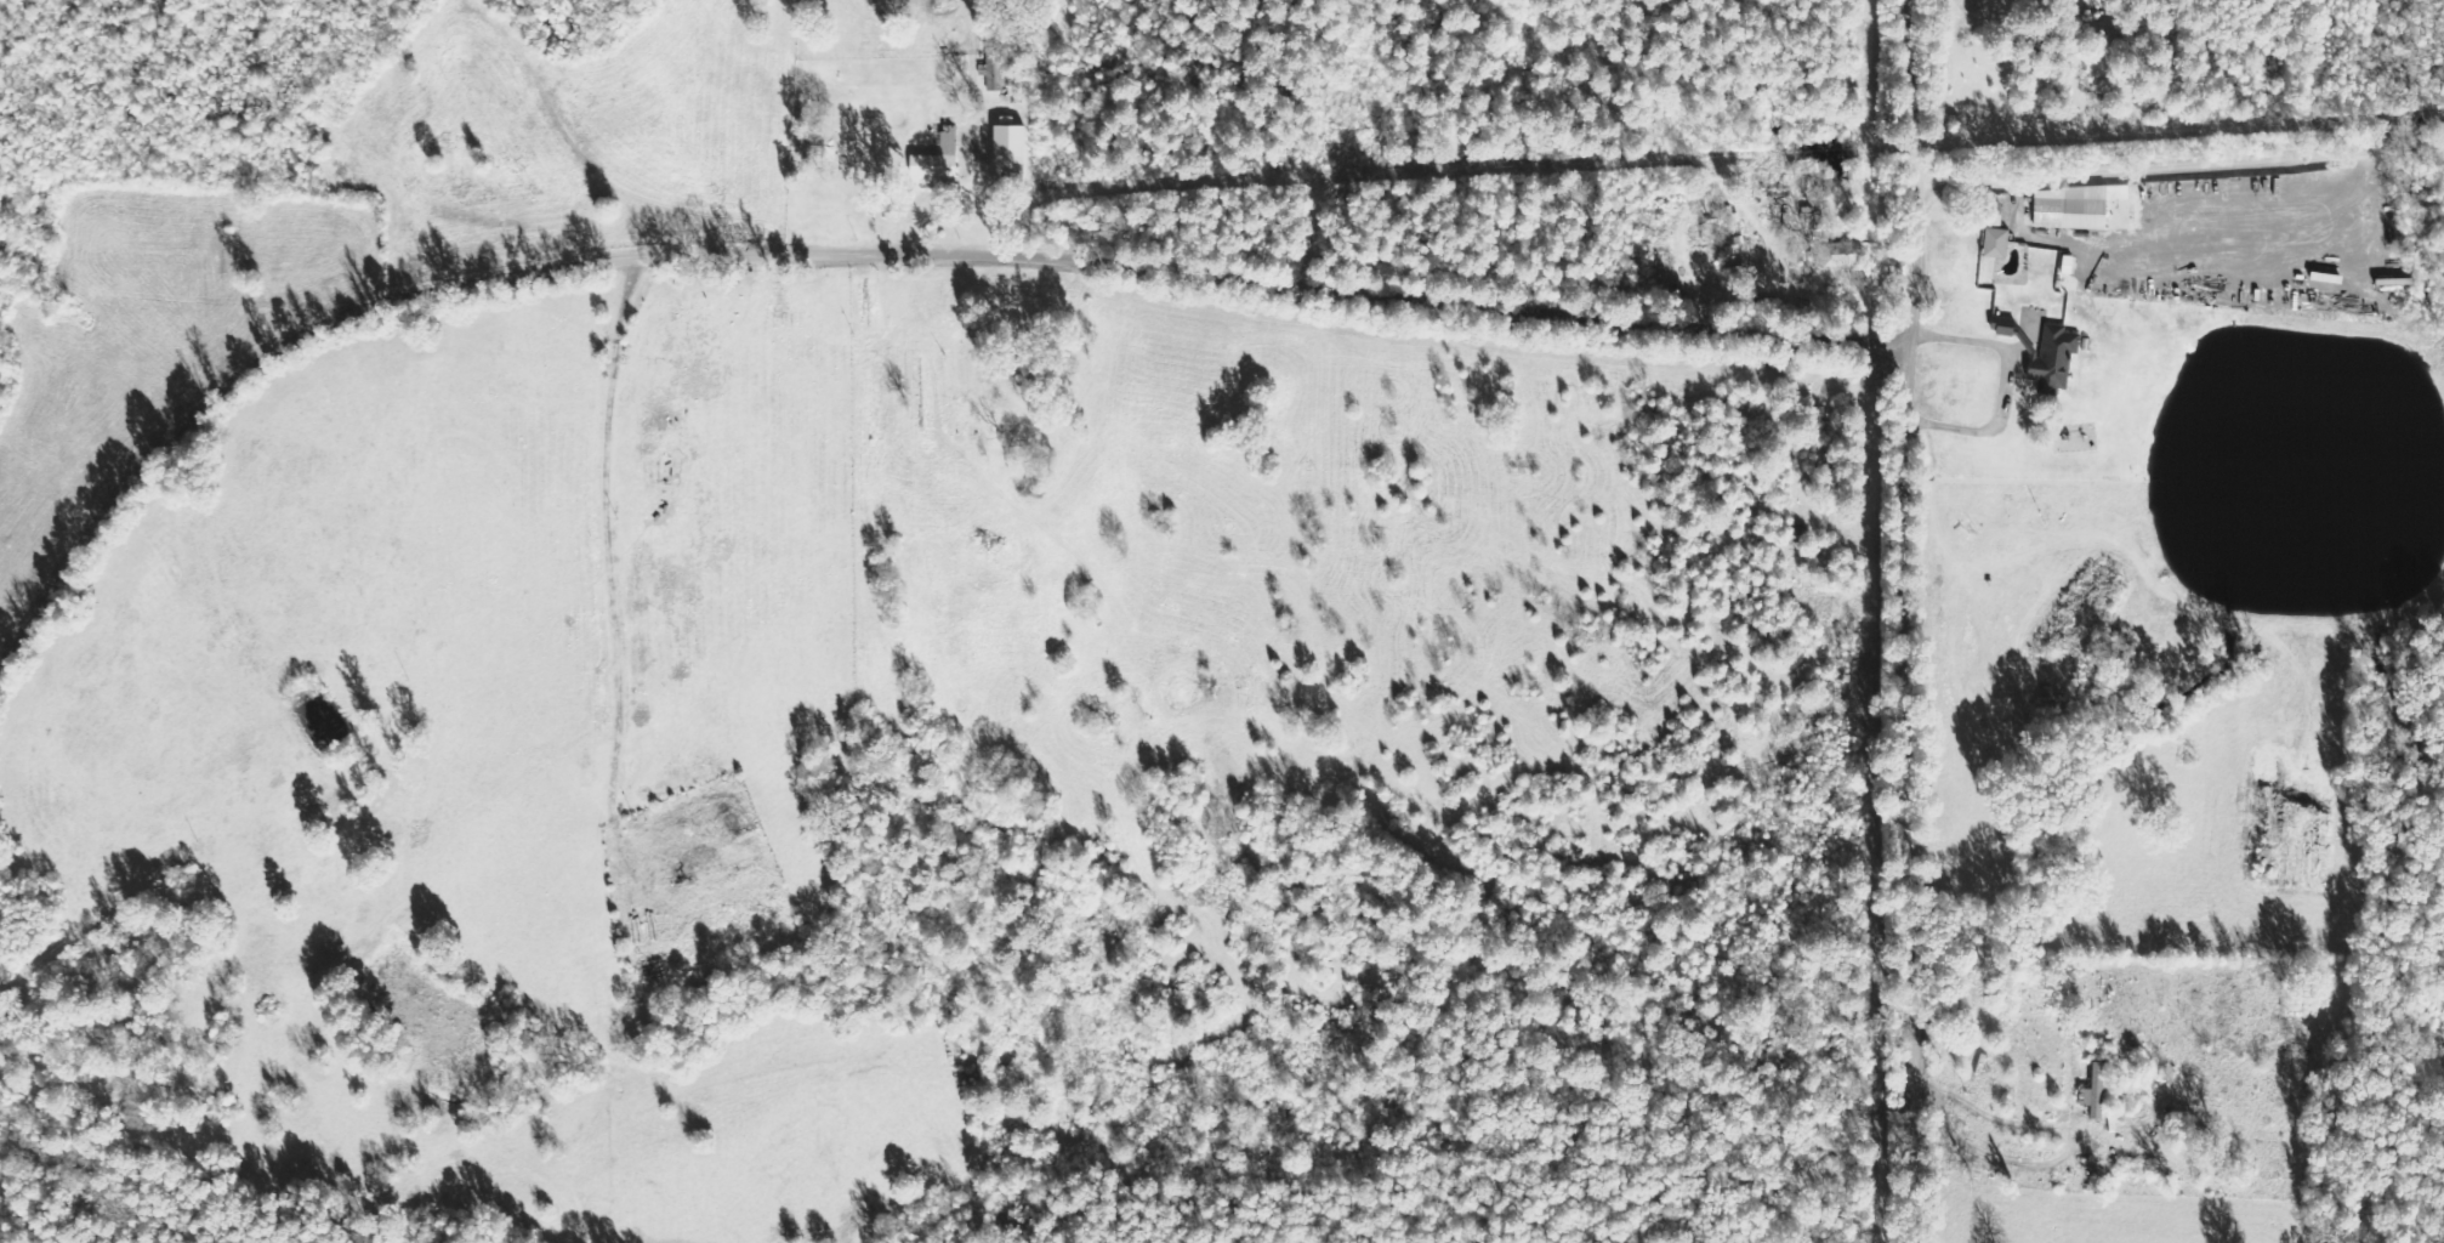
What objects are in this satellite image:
road: (1900, 95)
building: (1010, 155)
building: (939, 158)
road: (2172, 161)
building: (2071, 209)
building: (1991, 210)
building: (1997, 243)
road: (864, 249)
building: (1842, 257)
road: (1900, 268)
building: (2056, 361)
road: (1899, 795)
building: (2098, 1091)

